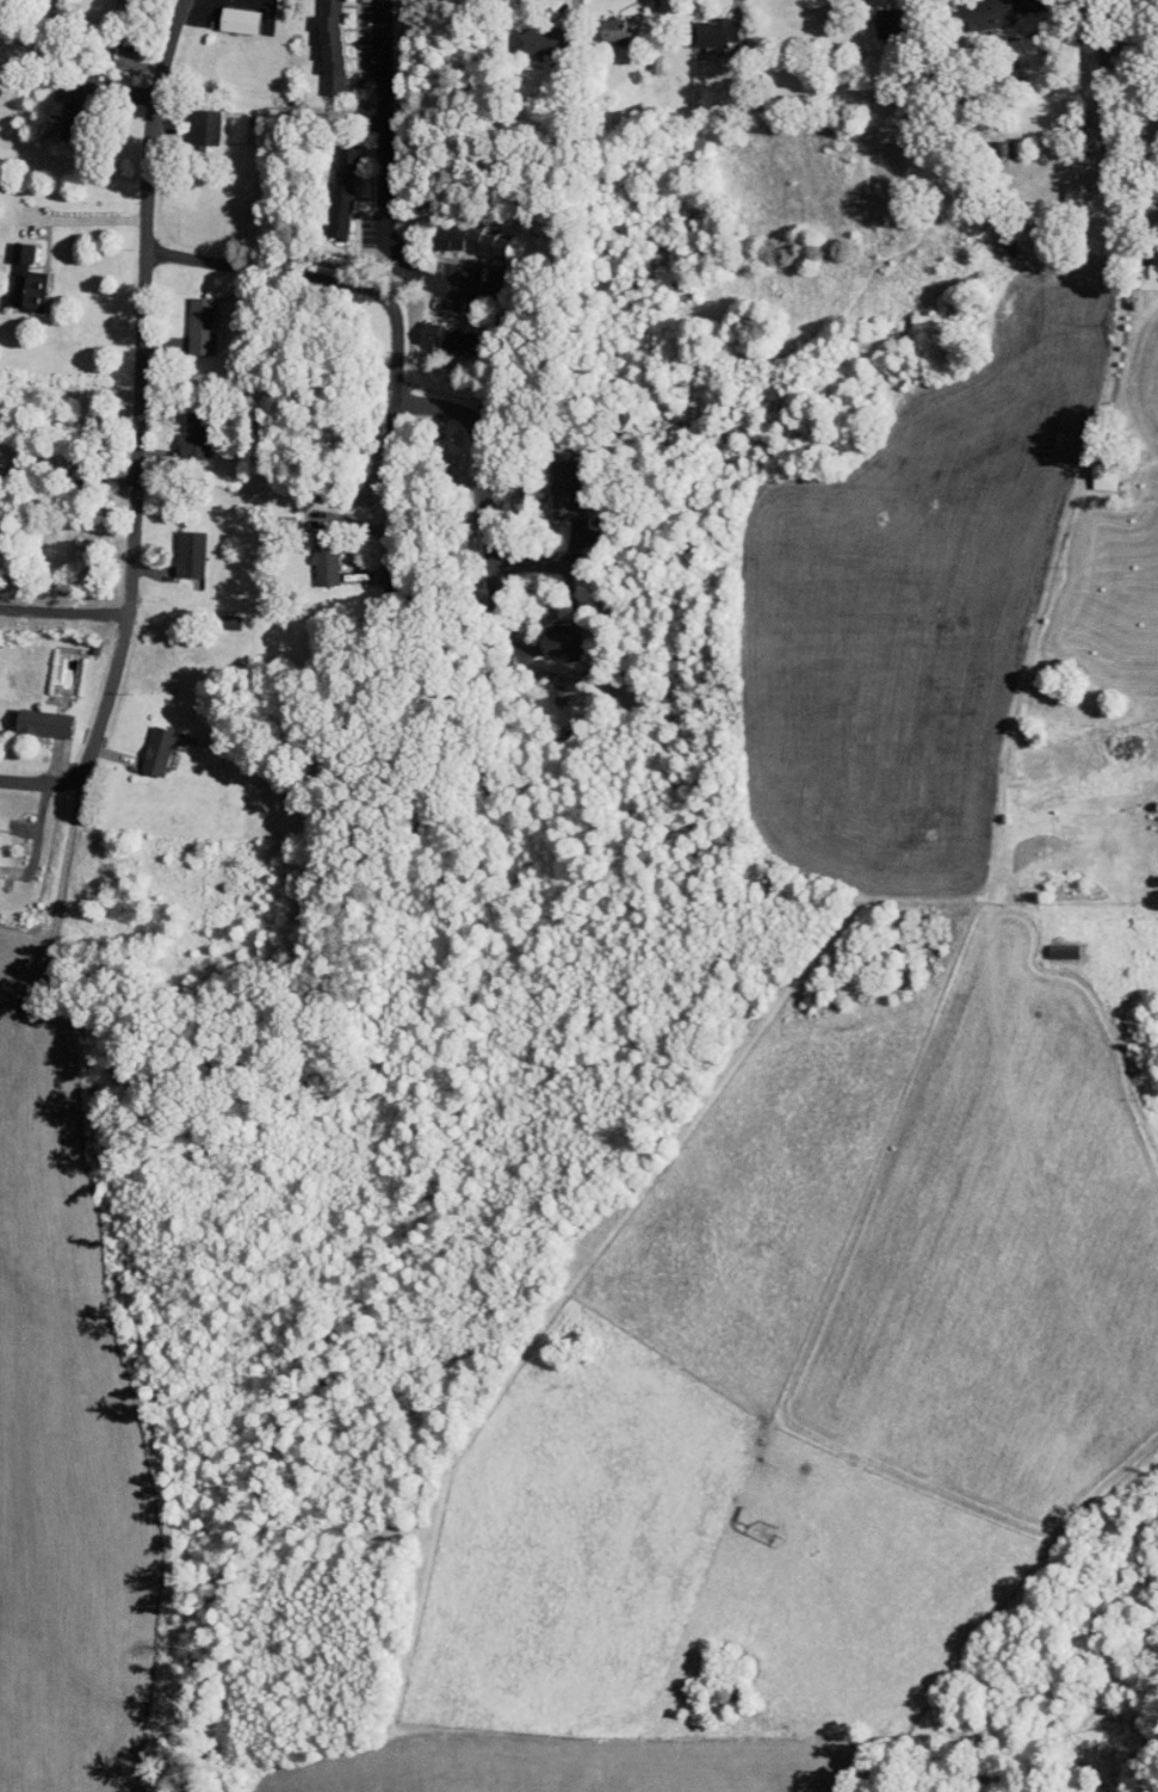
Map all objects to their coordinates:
building: (972, 10)
building: (224, 12)
building: (868, 12)
building: (602, 23)
building: (700, 24)
building: (522, 33)
building: (315, 43)
building: (58, 94)
building: (191, 118)
road: (380, 177)
building: (327, 184)
building: (1060, 185)
building: (456, 234)
building: (995, 237)
road: (1117, 252)
building: (1135, 268)
building: (13, 272)
building: (185, 319)
road: (388, 321)
building: (433, 332)
road: (134, 394)
building: (179, 428)
road: (484, 444)
building: (1089, 469)
road: (64, 481)
building: (551, 482)
road: (80, 495)
building: (174, 546)
building: (310, 557)
building: (540, 632)
building: (27, 713)
building: (142, 743)
road: (35, 785)
building: (1048, 944)

